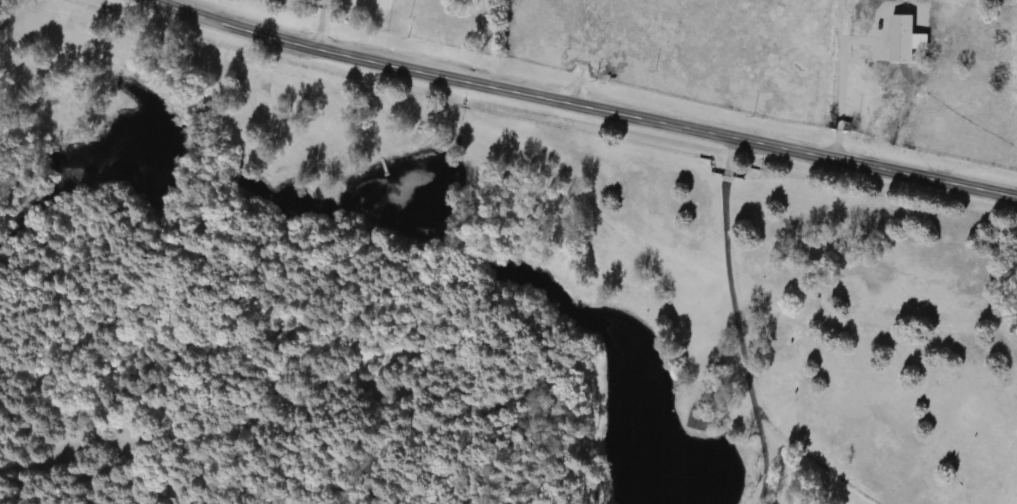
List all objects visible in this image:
road: (319, 22)
road: (838, 77)
road: (591, 103)
road: (742, 349)
building: (695, 421)
road: (764, 456)

